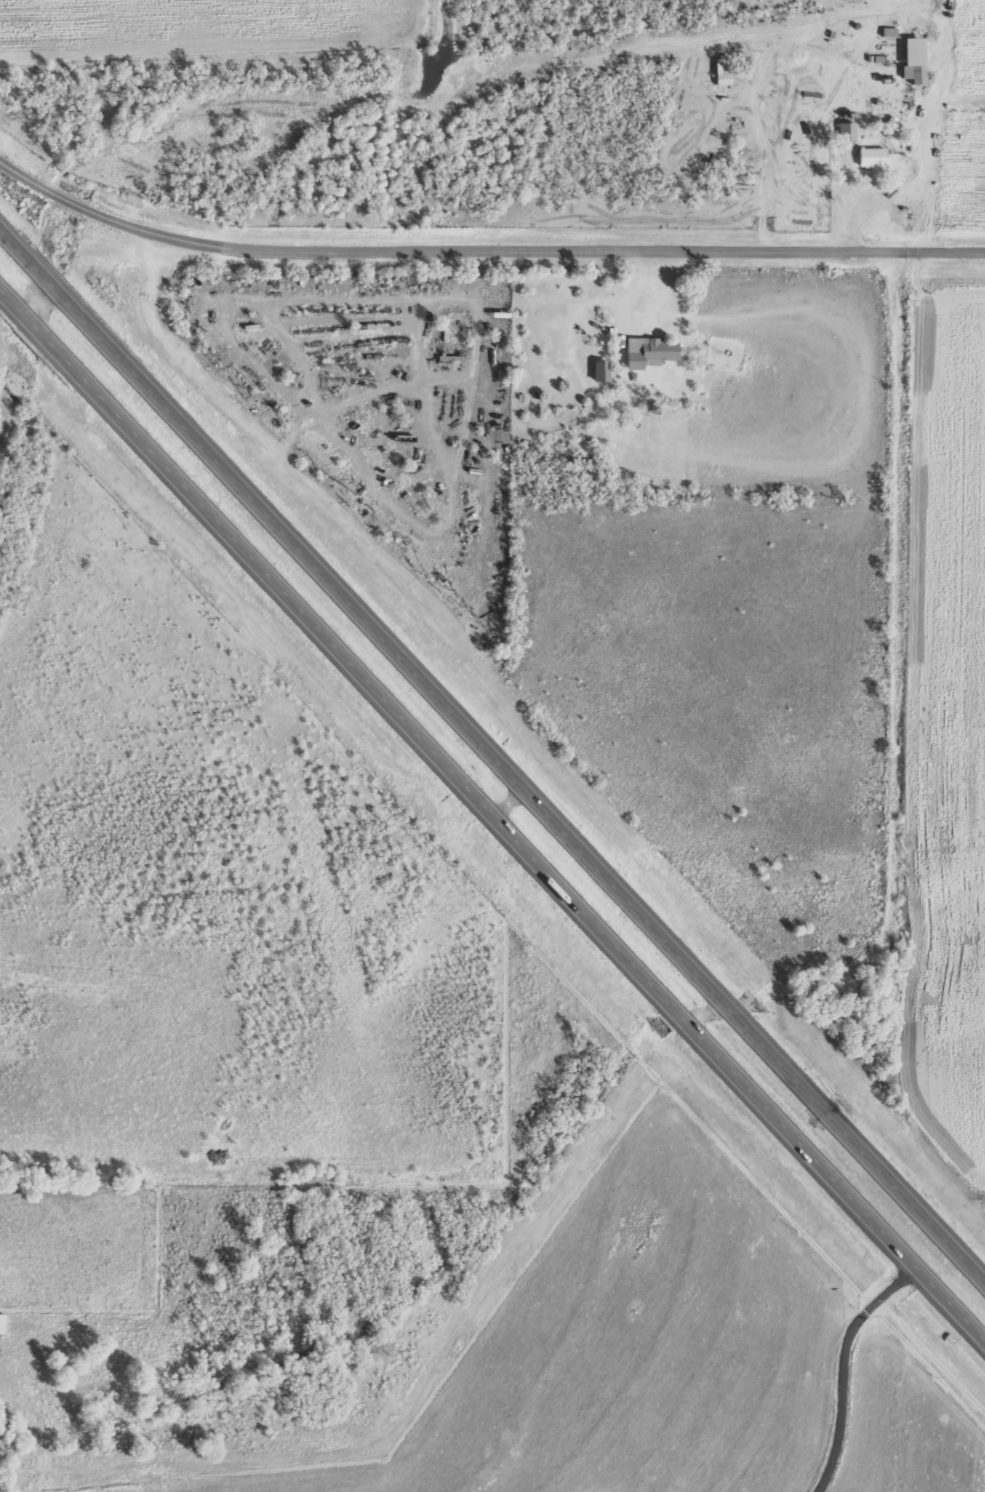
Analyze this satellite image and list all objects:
building: (893, 32)
building: (920, 61)
building: (728, 71)
building: (897, 124)
building: (852, 132)
building: (878, 158)
road: (483, 251)
building: (652, 350)
building: (606, 369)
road: (487, 754)
road: (495, 809)
road: (905, 1281)
building: (4, 1323)
road: (938, 1343)
road: (846, 1386)

